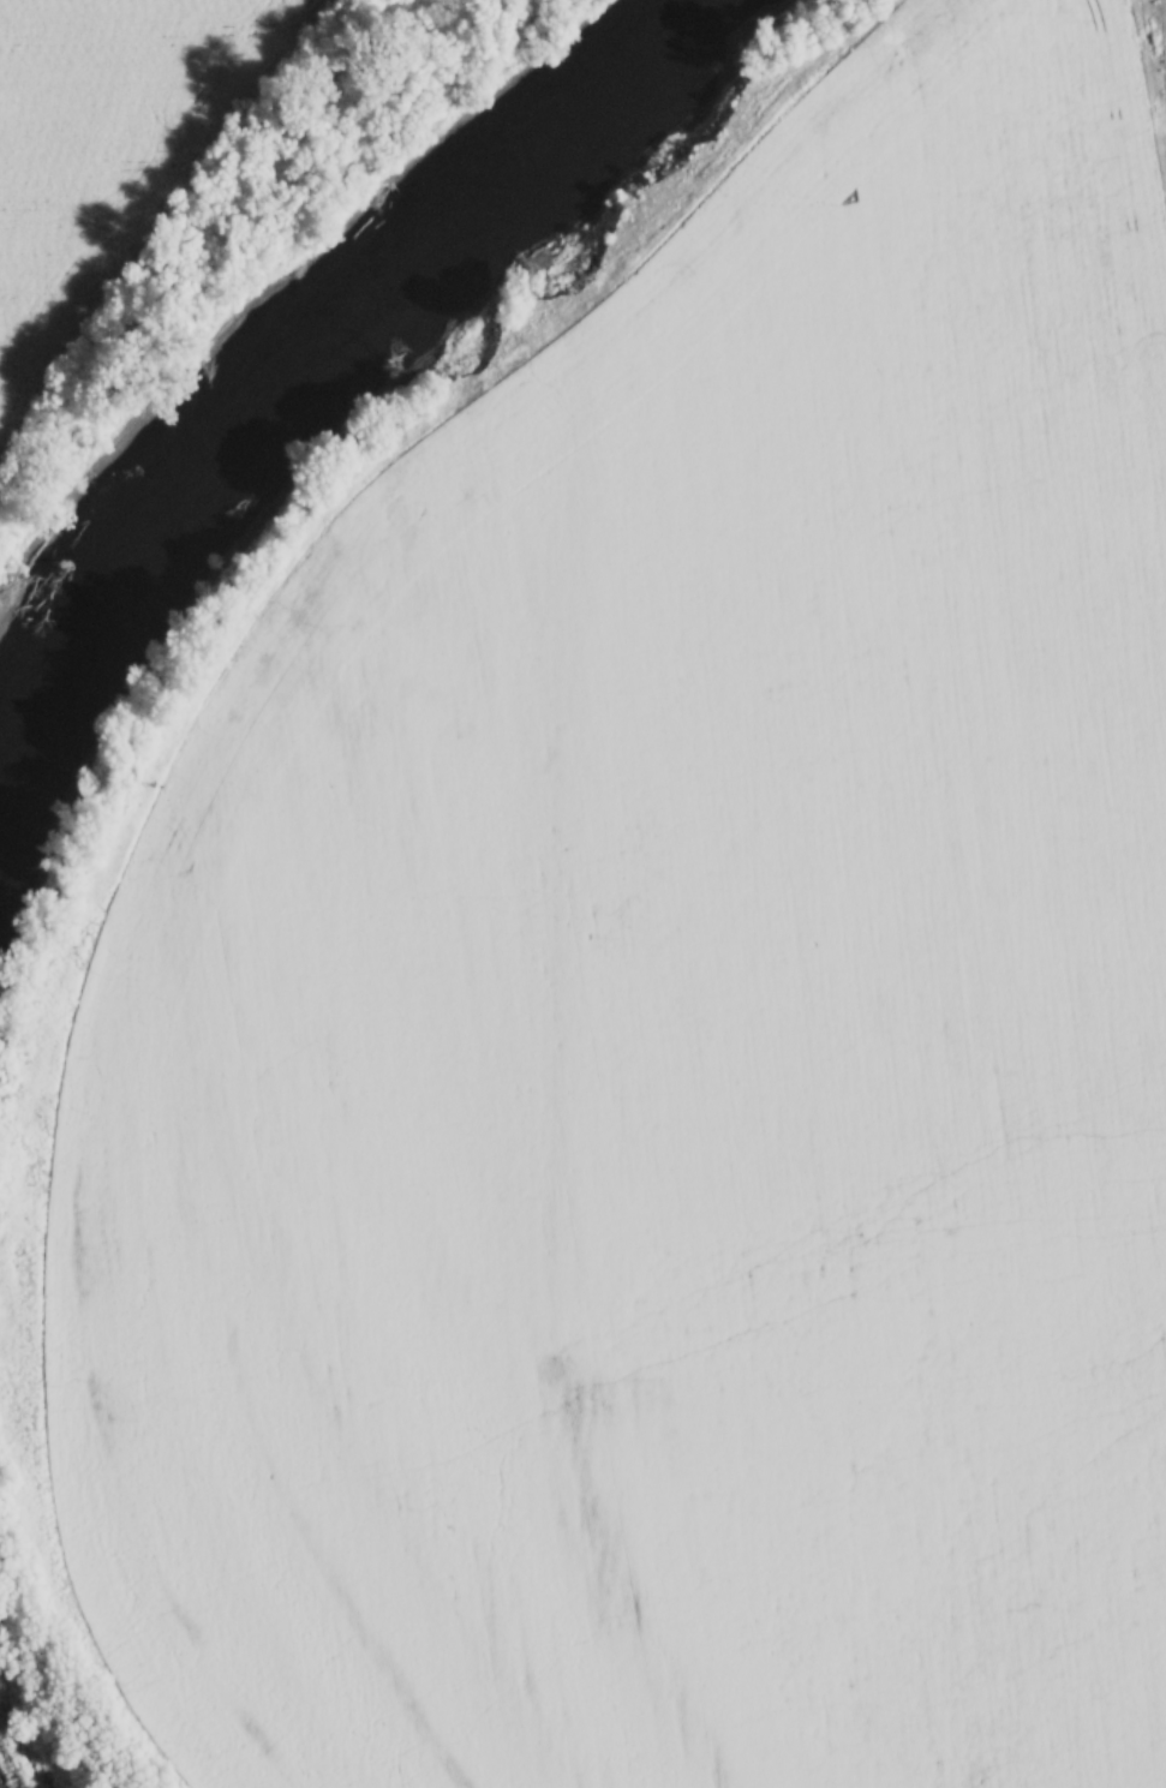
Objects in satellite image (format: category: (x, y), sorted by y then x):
river: (292, 365)

